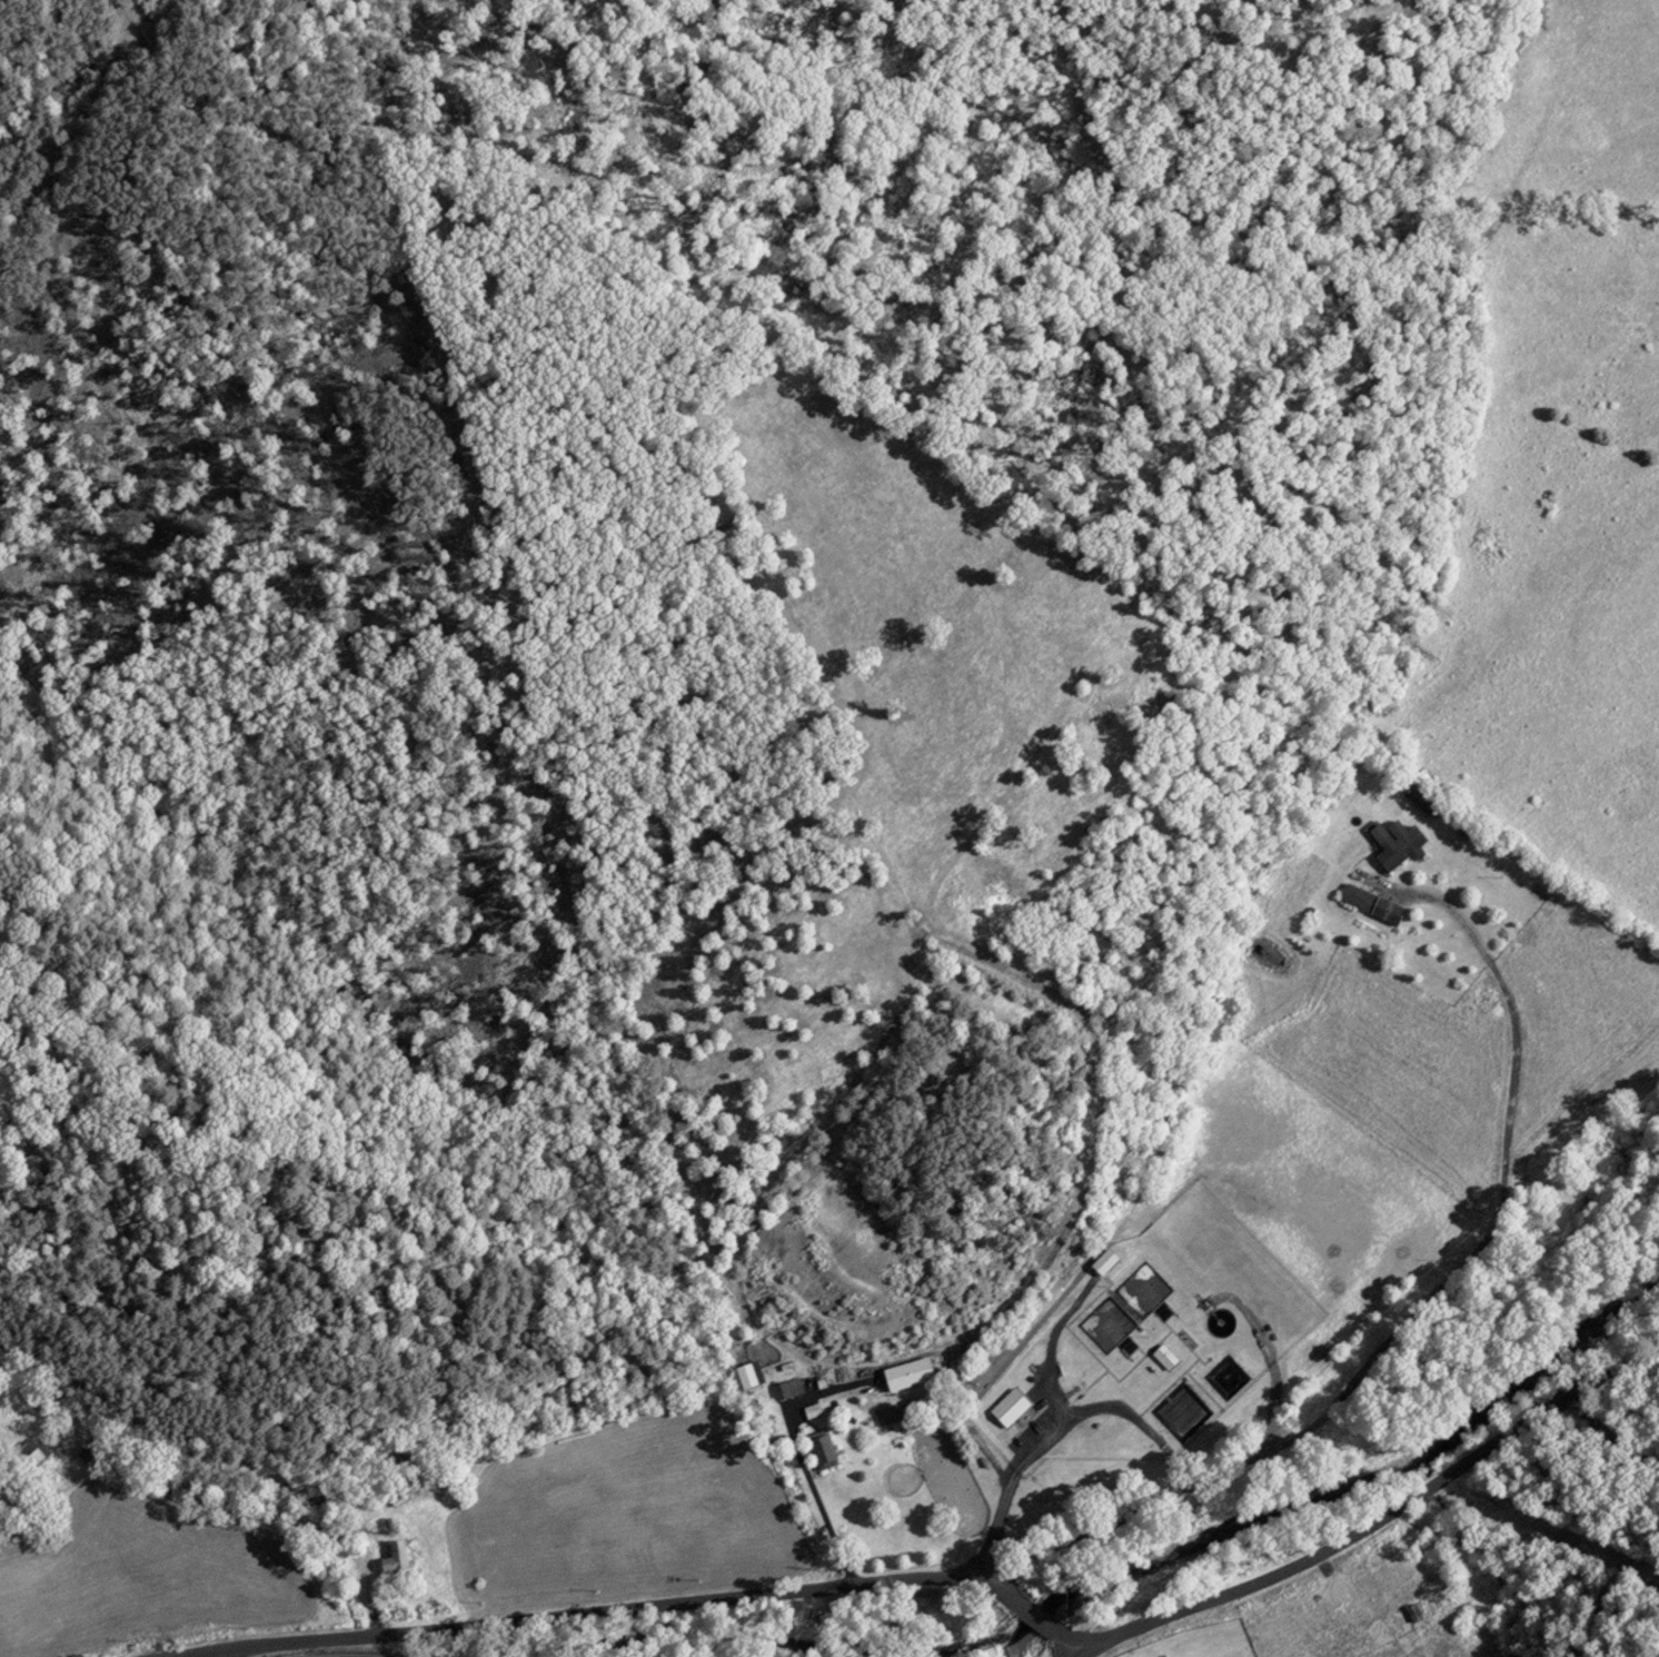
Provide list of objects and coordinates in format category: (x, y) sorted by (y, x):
building: (1395, 843)
building: (1355, 897)
building: (1387, 912)
building: (1103, 1262)
road: (1422, 1302)
building: (1164, 1357)
building: (906, 1375)
building: (787, 1389)
building: (1009, 1408)
road: (1050, 1423)
building: (822, 1452)
building: (29, 1456)
river: (1342, 1489)
road: (1373, 1520)
building: (399, 1558)
road: (989, 1589)
road: (577, 1613)
road: (1024, 1621)
river: (715, 1635)
road: (1044, 1649)

